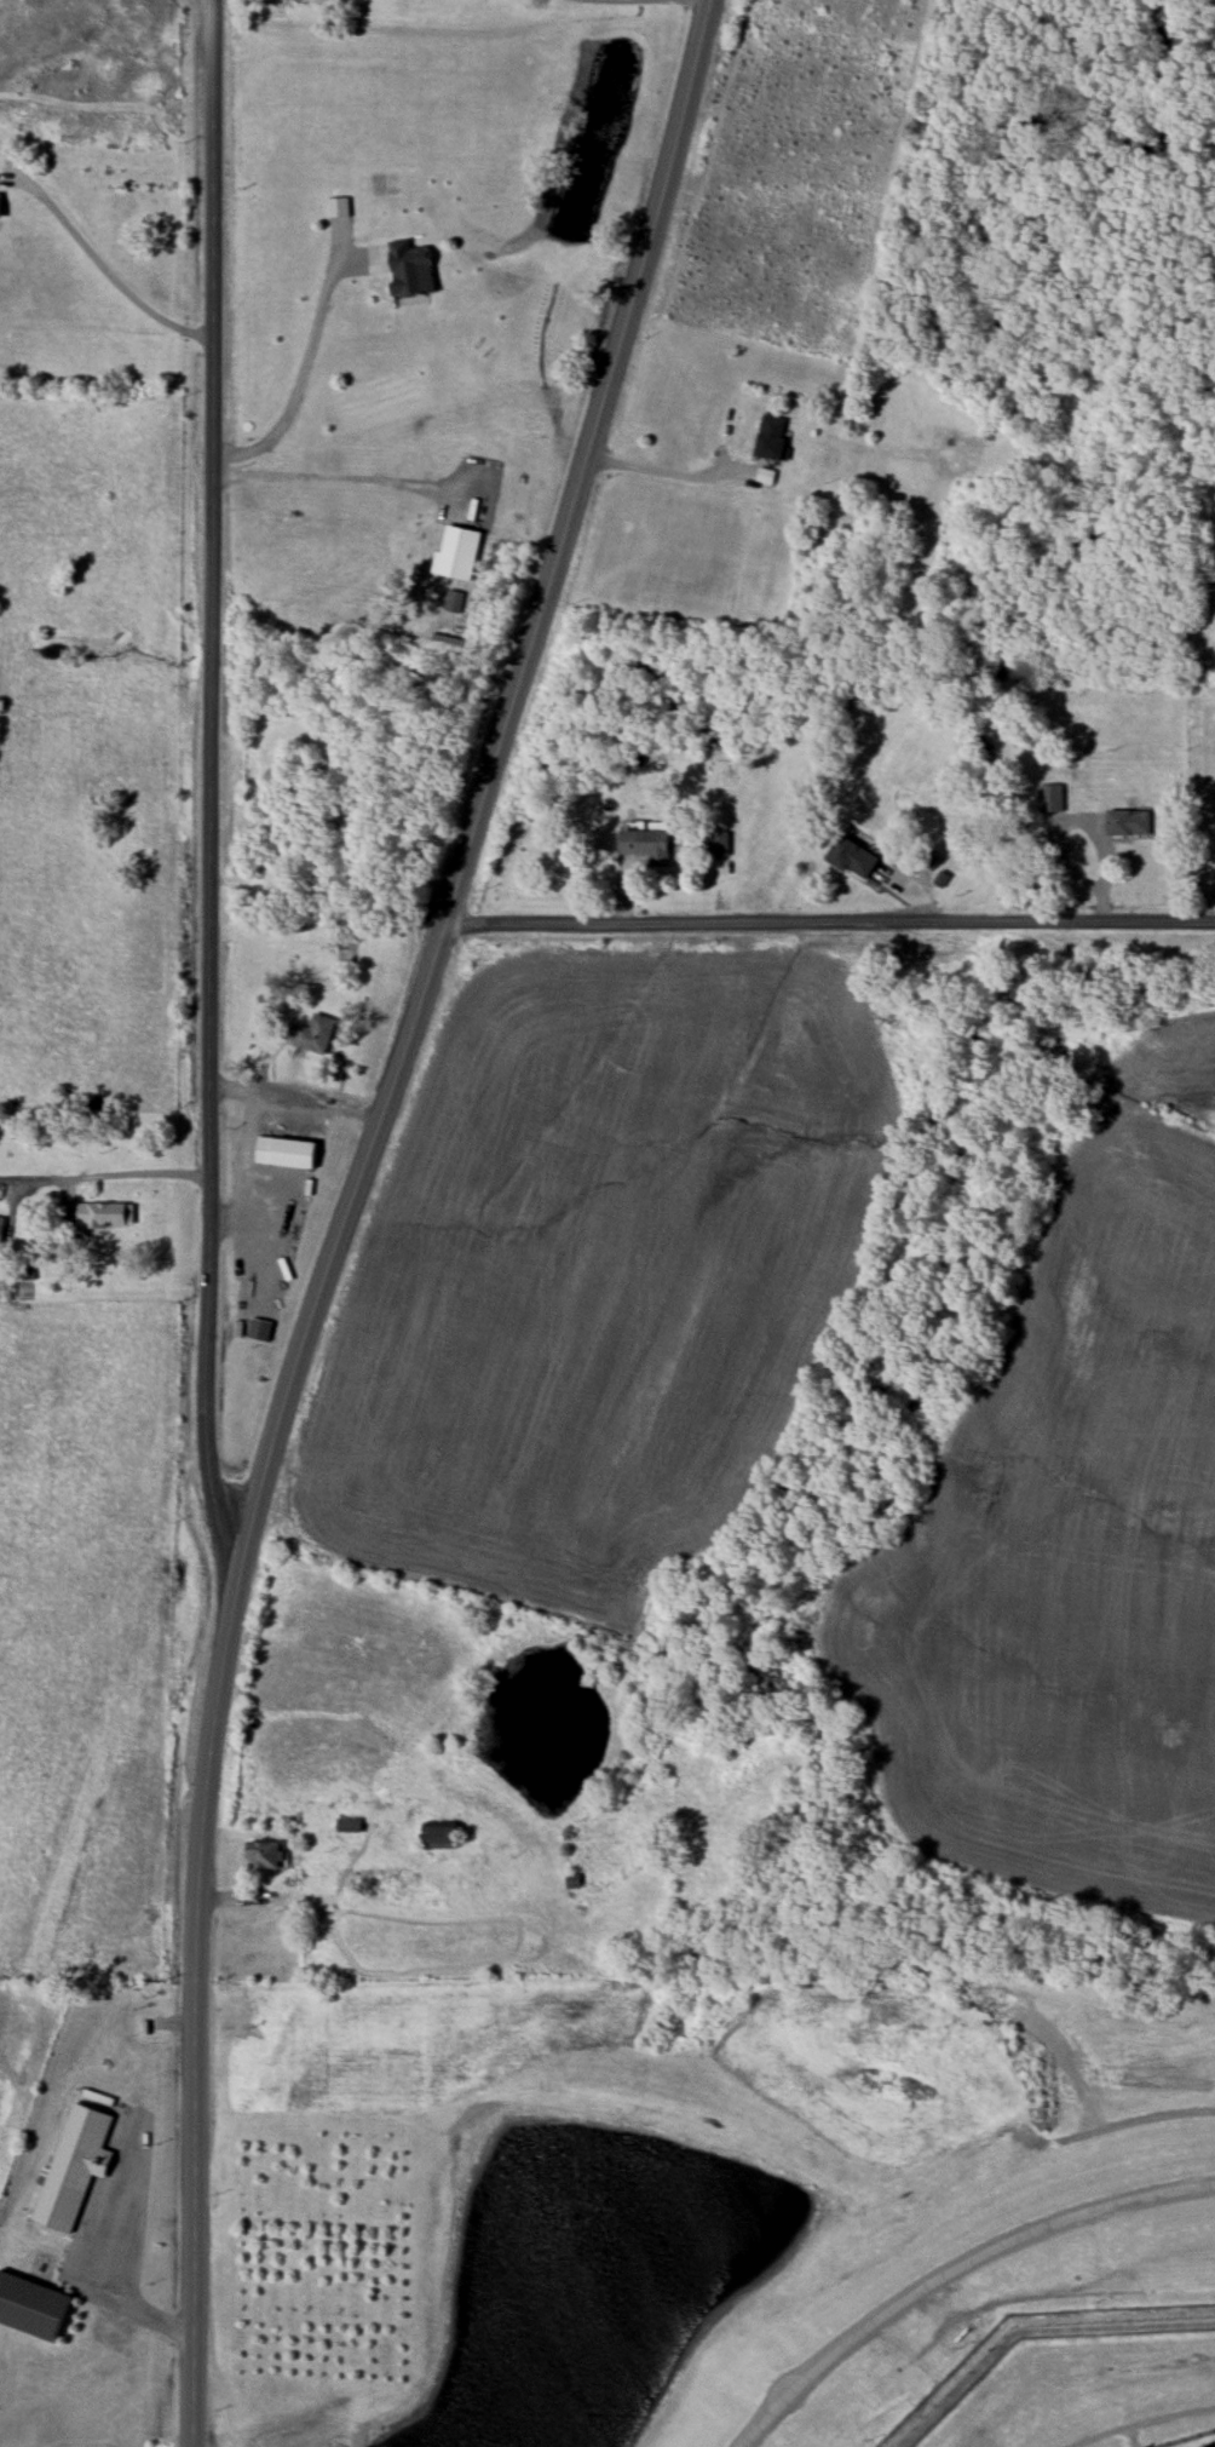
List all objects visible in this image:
road: (649, 1)
building: (0, 206)
road: (102, 266)
building: (410, 269)
road: (296, 377)
building: (771, 437)
road: (675, 477)
road: (333, 483)
building: (456, 553)
road: (211, 783)
road: (490, 788)
building: (1050, 798)
building: (1128, 822)
road: (1083, 823)
building: (647, 843)
building: (718, 845)
road: (1105, 902)
road: (830, 921)
building: (315, 1035)
road: (296, 1098)
building: (286, 1153)
road: (105, 1177)
road: (69, 1204)
building: (100, 1214)
building: (0, 1229)
crop: (599, 1274)
building: (349, 1825)
building: (439, 1834)
building: (264, 1855)
road: (195, 2004)
road: (1109, 2129)
building: (74, 2166)
road: (98, 2262)
road: (956, 2274)
building: (31, 2304)
road: (1139, 2423)
building: (1205, 2446)

